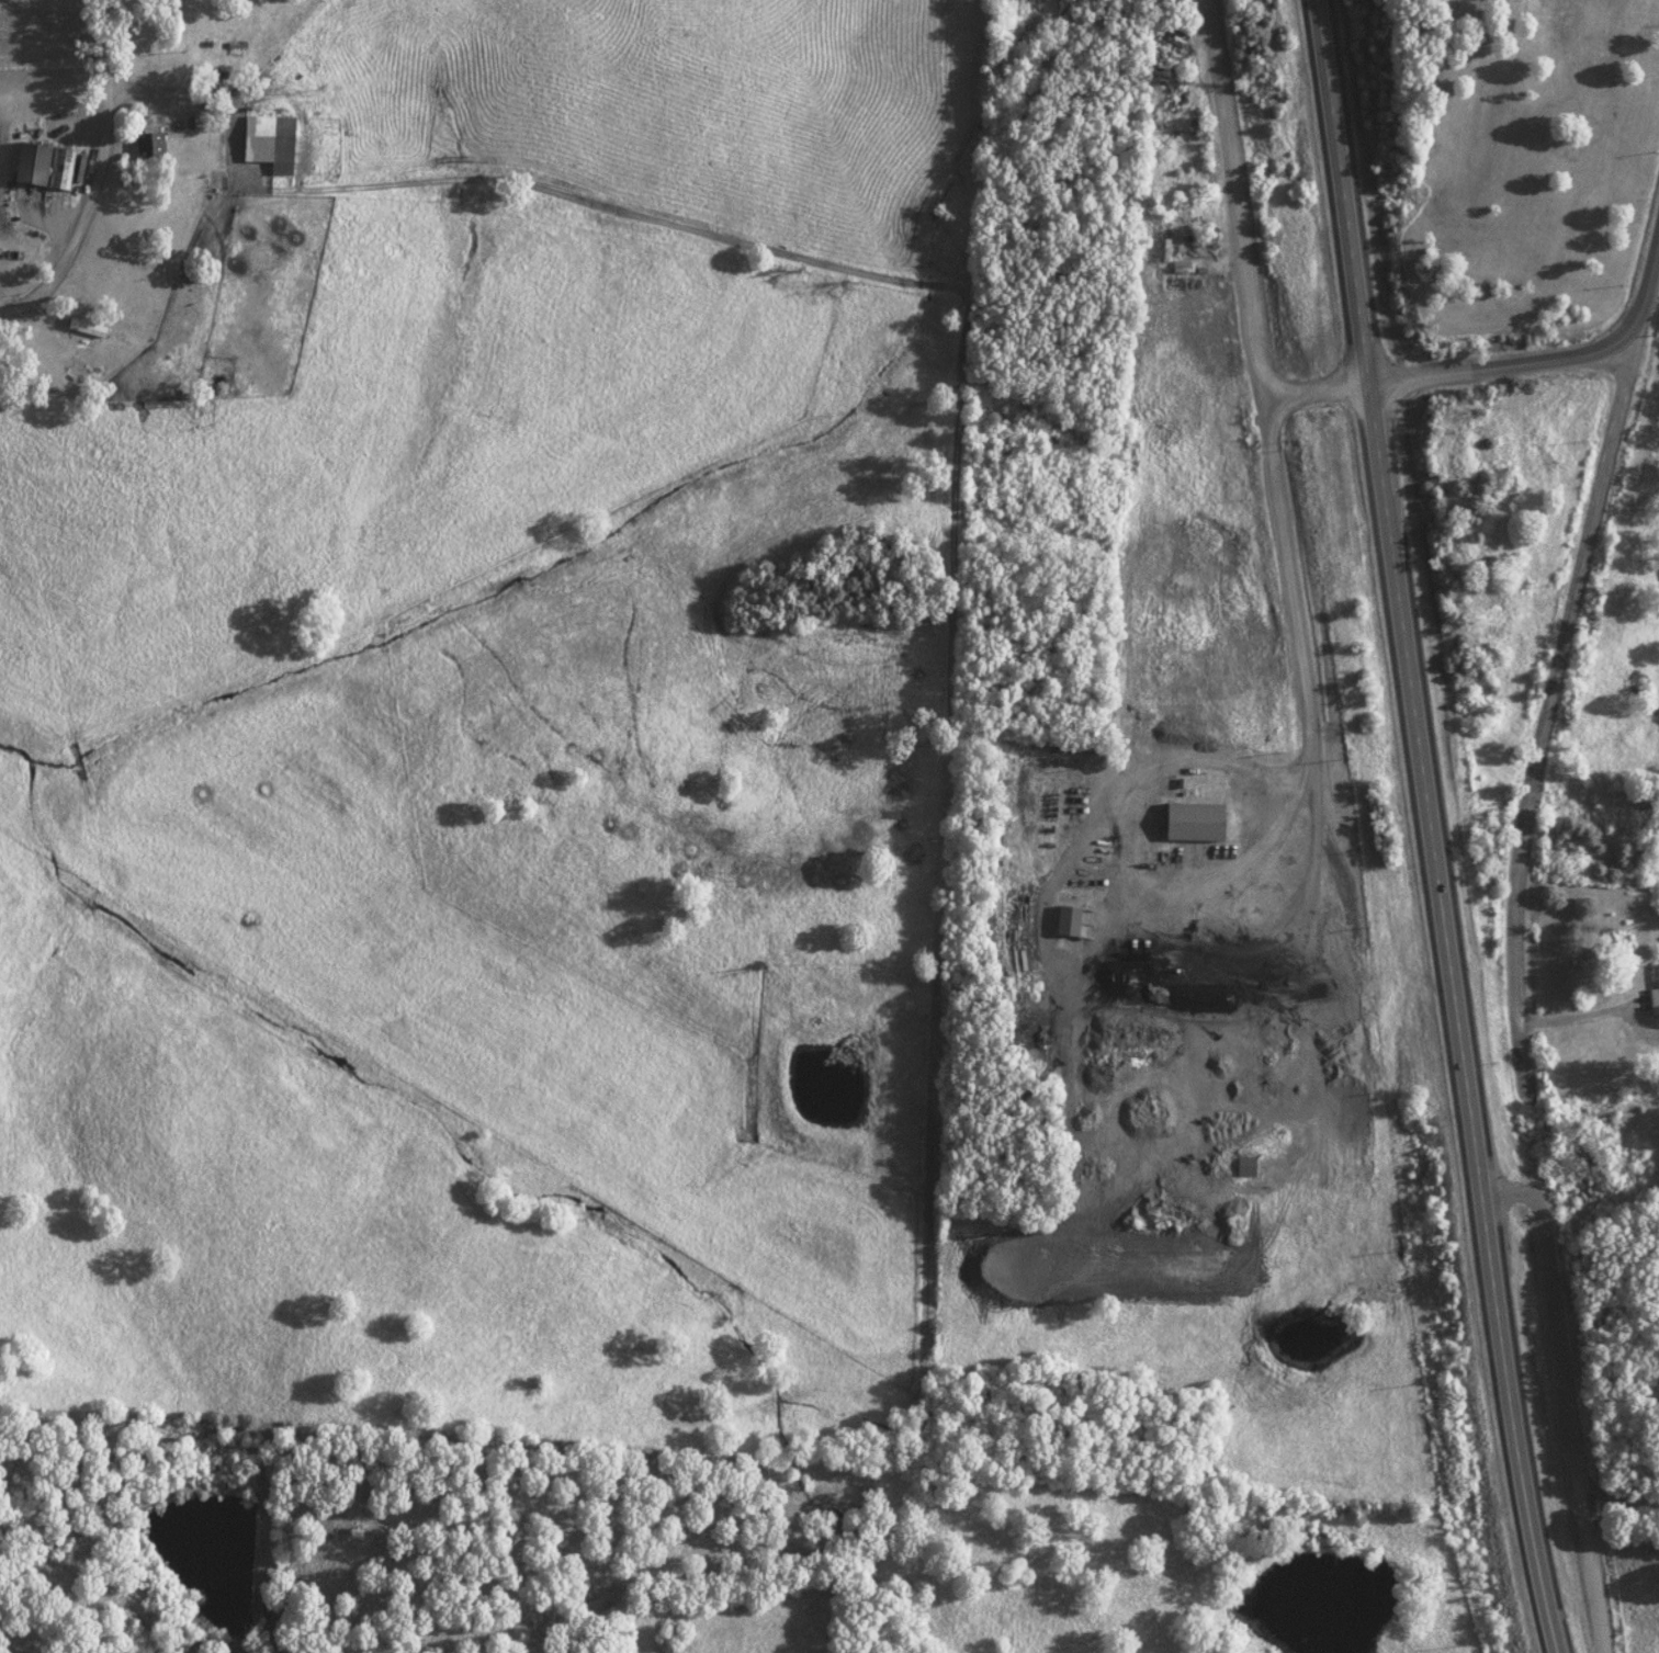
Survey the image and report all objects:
building: (148, 136)
building: (269, 139)
building: (42, 166)
road: (93, 176)
road: (1346, 191)
building: (1187, 218)
building: (93, 329)
road: (1576, 354)
road: (1262, 381)
road: (1319, 388)
road: (1543, 699)
road: (1104, 805)
building: (1065, 919)
building: (1655, 993)
road: (1456, 1018)
building: (1244, 1165)
road: (1566, 1399)

